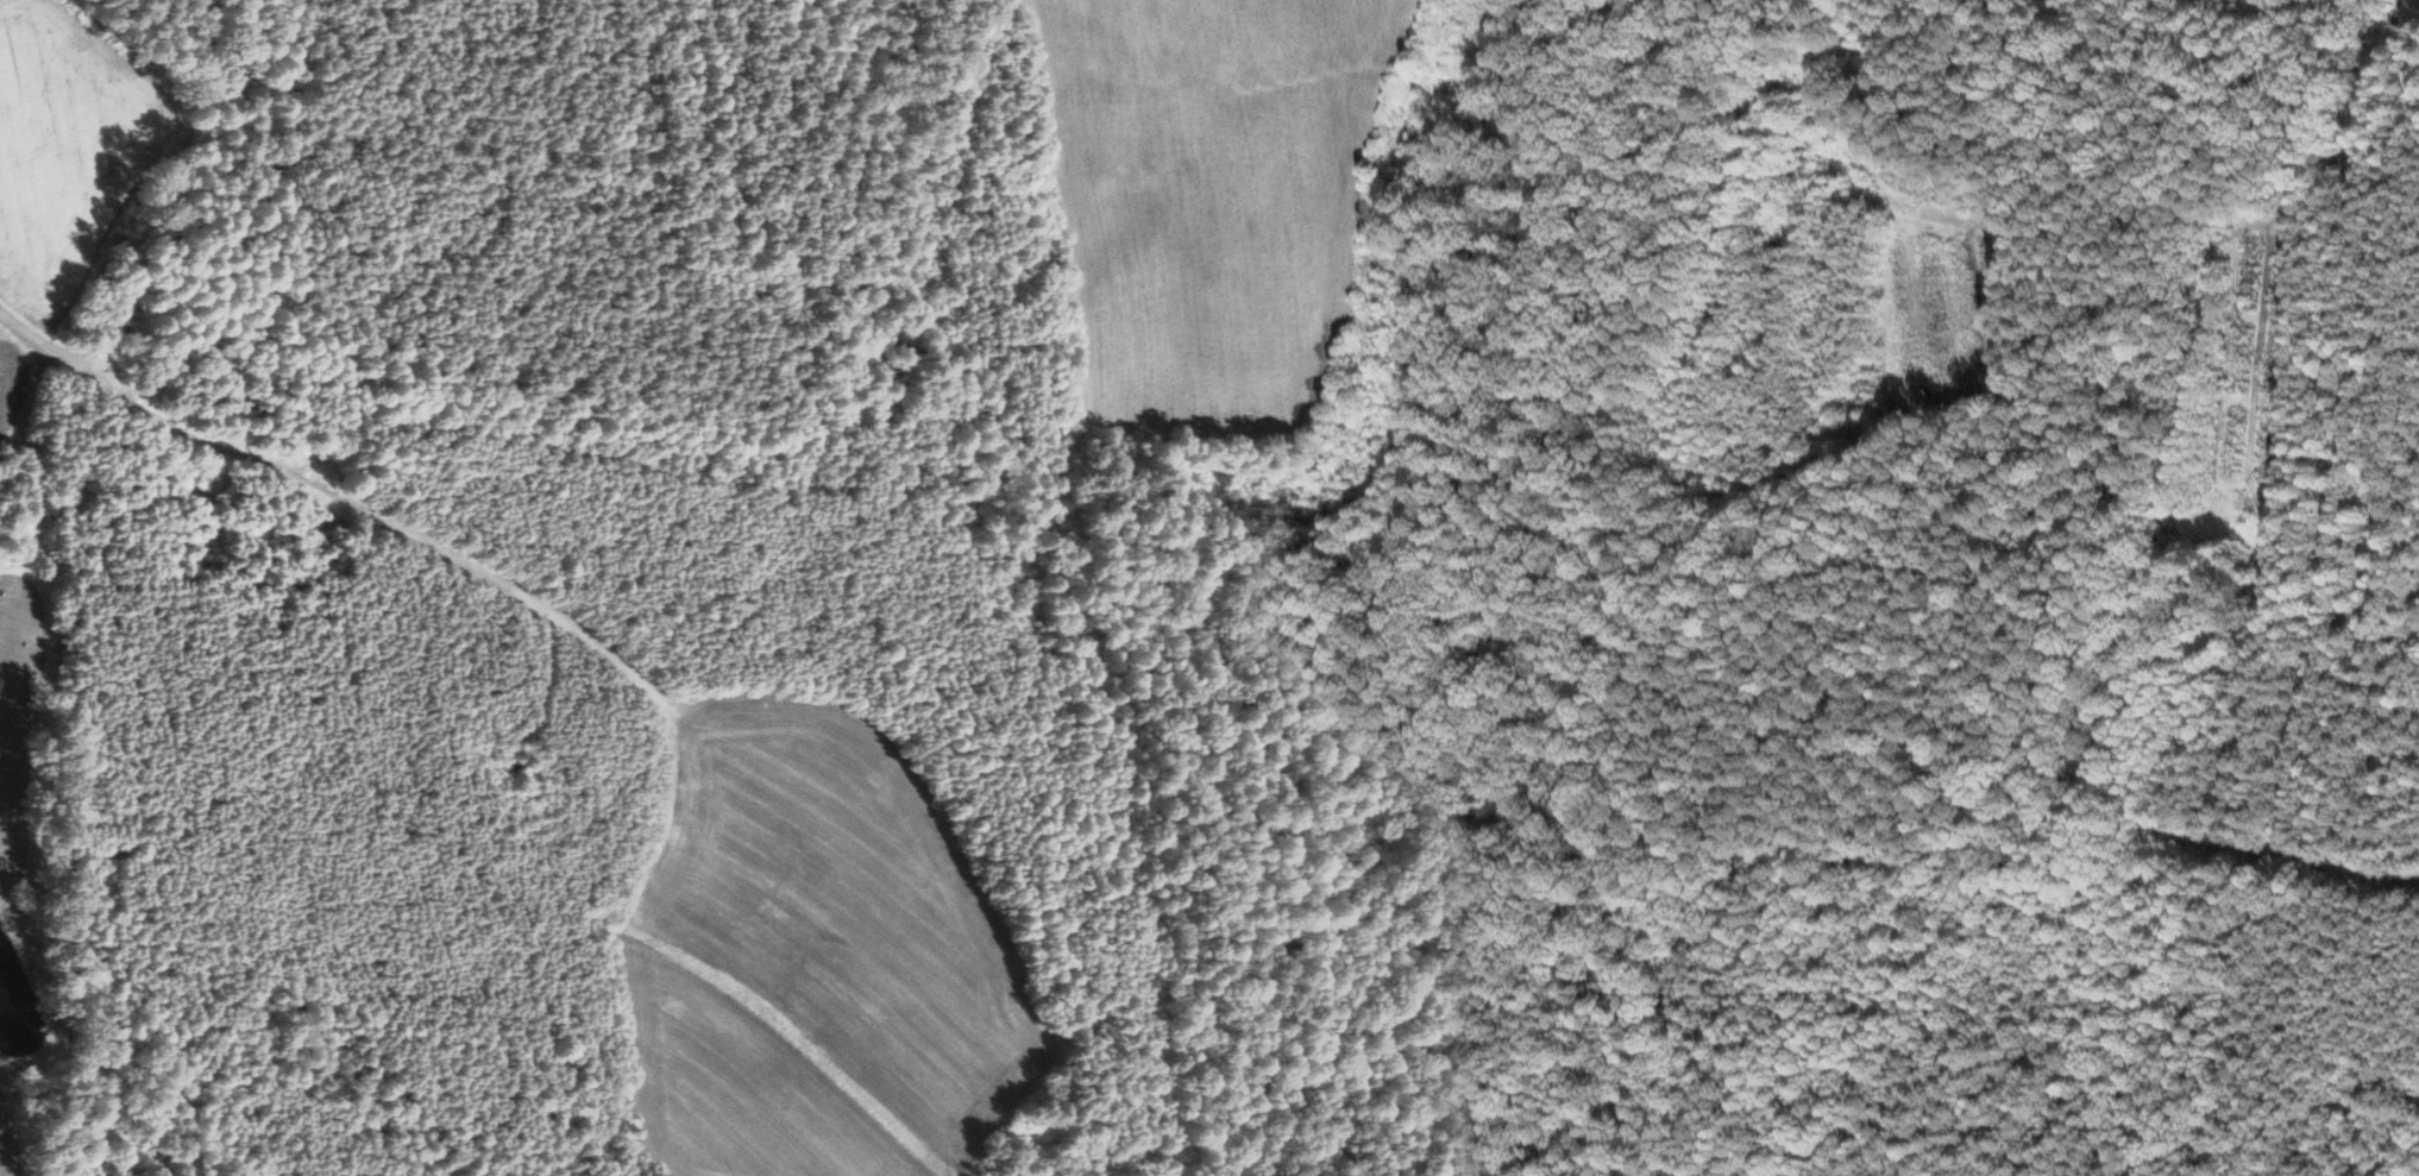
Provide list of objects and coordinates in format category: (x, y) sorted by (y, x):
road: (334, 496)
road: (962, 856)
road: (617, 937)

